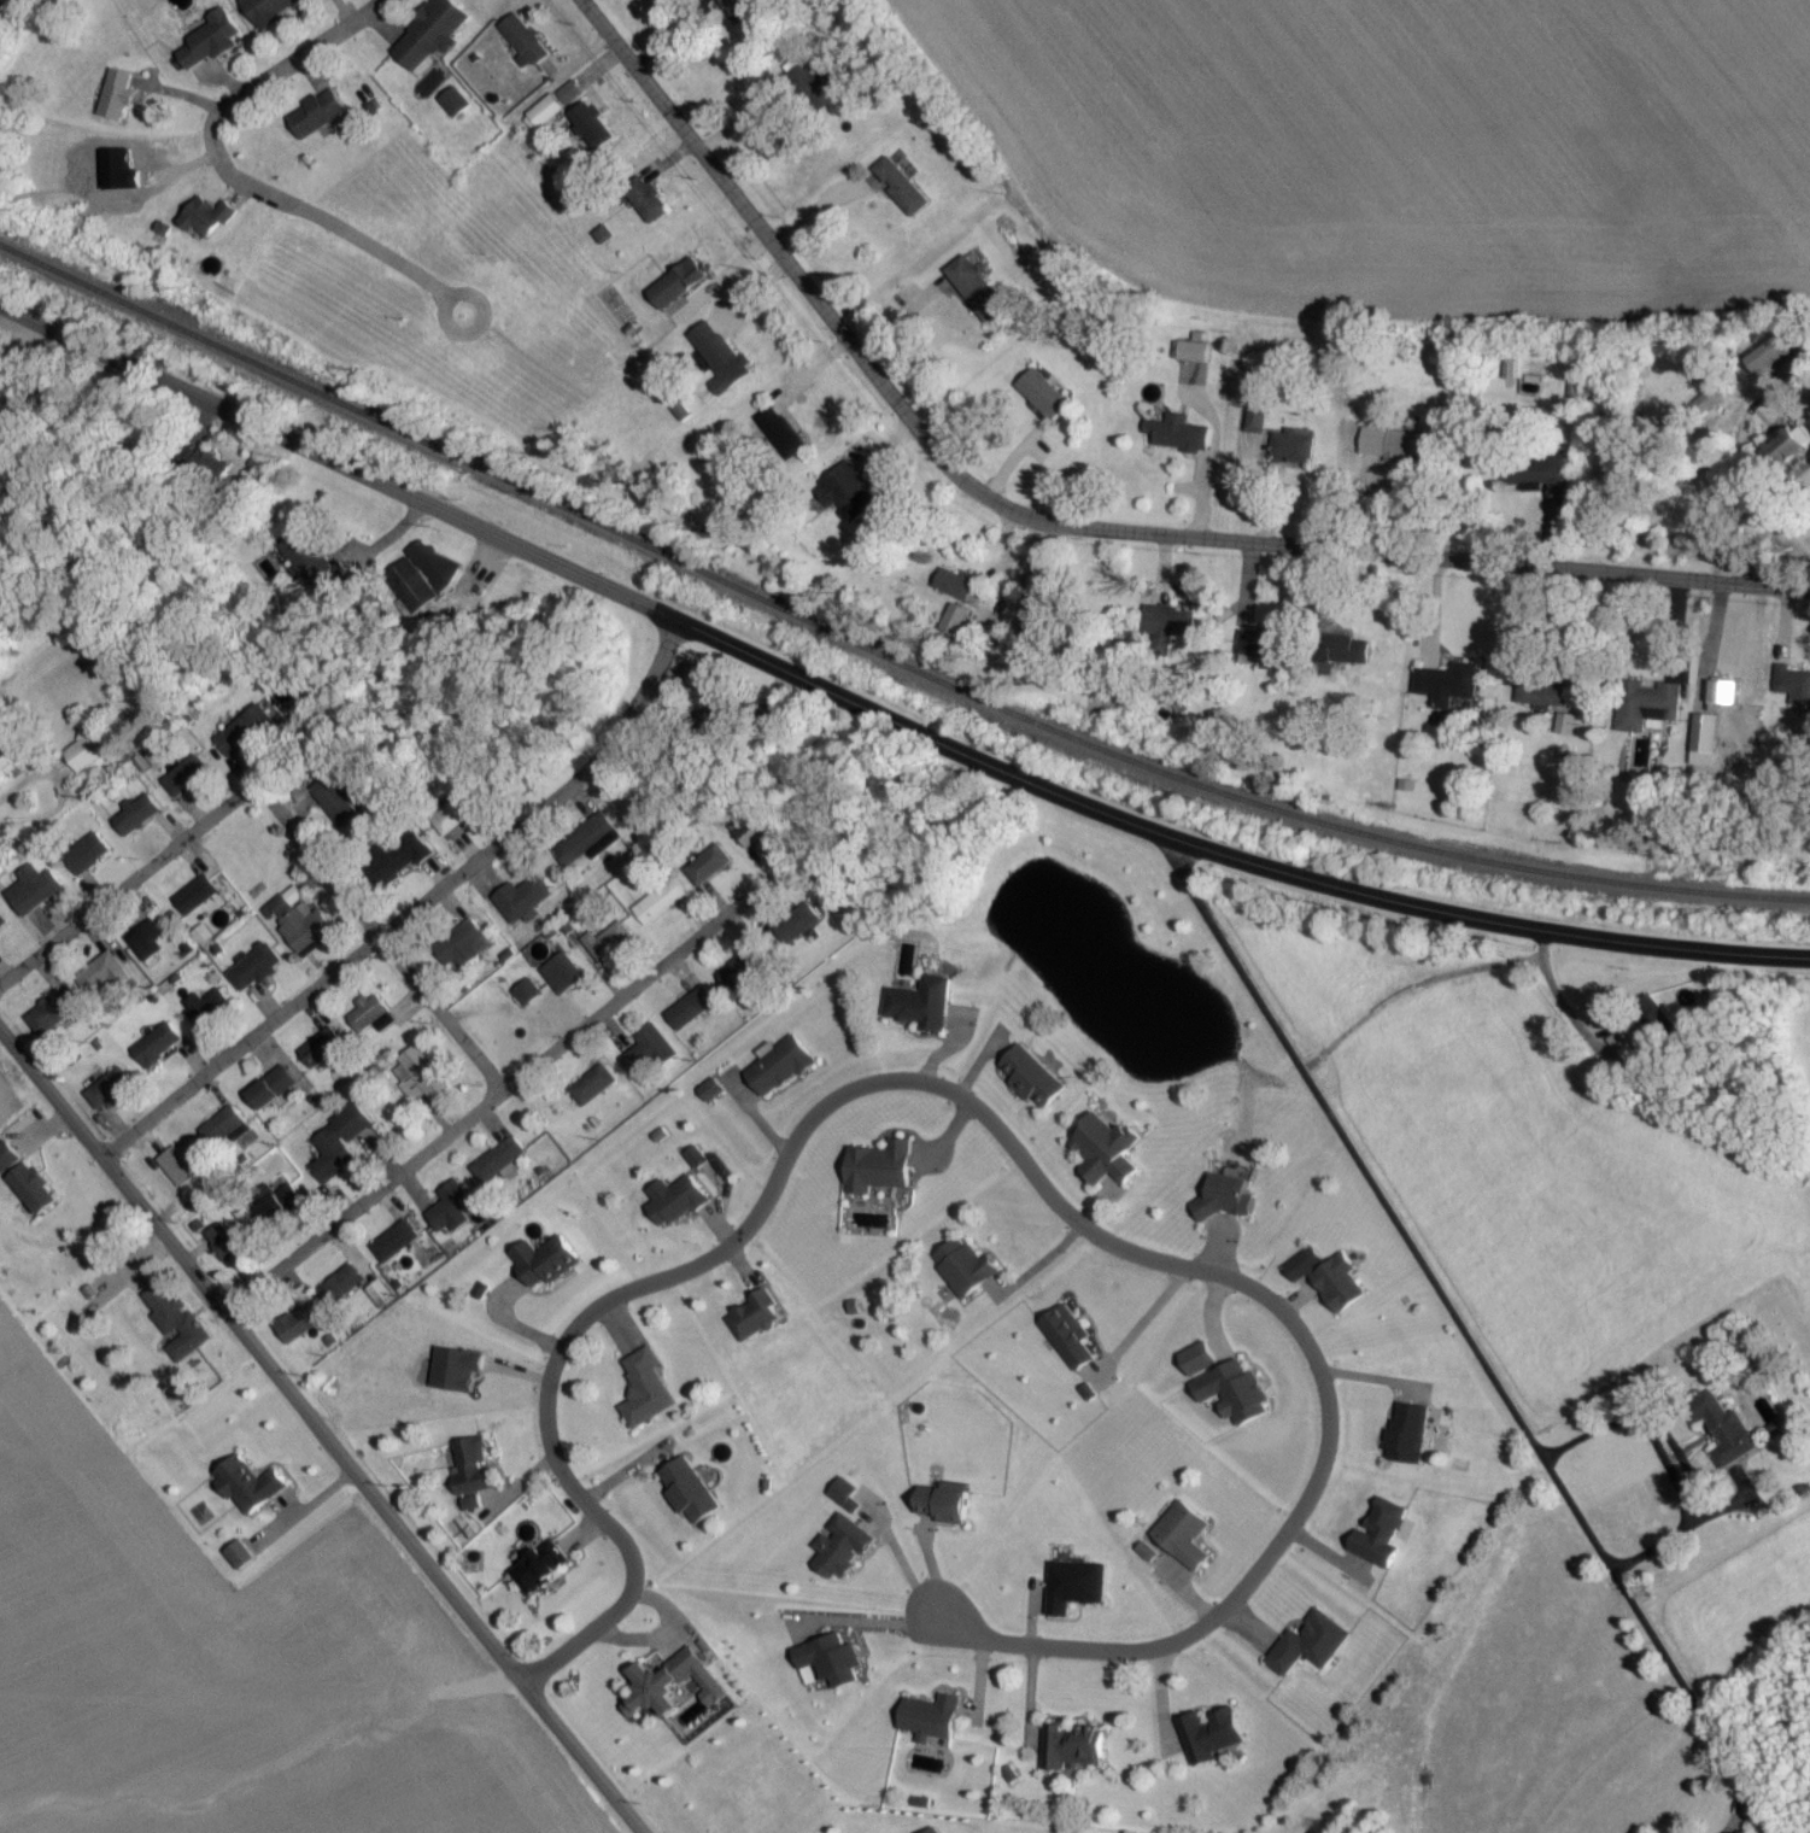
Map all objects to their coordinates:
building: (269, 12)
building: (429, 40)
building: (522, 47)
building: (206, 48)
building: (807, 89)
building: (115, 101)
building: (455, 109)
building: (545, 119)
building: (315, 121)
building: (591, 133)
road: (228, 180)
building: (901, 193)
building: (646, 210)
building: (205, 224)
building: (685, 283)
building: (973, 295)
building: (704, 346)
building: (1190, 358)
road: (1797, 386)
building: (1042, 402)
building: (1250, 424)
building: (1177, 441)
building: (1285, 451)
building: (1396, 453)
building: (1786, 458)
building: (1553, 481)
building: (857, 509)
road: (1070, 533)
building: (955, 590)
building: (1035, 613)
building: (1166, 633)
building: (1260, 657)
building: (1348, 658)
railway: (879, 660)
building: (1446, 691)
building: (1792, 691)
building: (1716, 697)
building: (1541, 699)
building: (1645, 710)
road: (879, 719)
building: (83, 761)
building: (11, 767)
road: (31, 781)
building: (186, 785)
building: (336, 808)
road: (49, 814)
building: (136, 822)
building: (455, 822)
building: (750, 838)
building: (585, 848)
building: (86, 860)
building: (393, 872)
building: (707, 872)
road: (128, 894)
building: (30, 897)
building: (194, 901)
building: (523, 906)
building: (658, 907)
road: (416, 916)
building: (2, 927)
building: (301, 929)
road: (377, 947)
building: (146, 948)
building: (609, 948)
building: (462, 951)
building: (254, 976)
building: (737, 979)
building: (99, 980)
building: (561, 980)
road: (1407, 990)
road: (1559, 1005)
building: (921, 1012)
building: (206, 1015)
building: (690, 1015)
building: (54, 1018)
building: (1653, 1024)
building: (156, 1053)
building: (322, 1054)
building: (648, 1059)
building: (779, 1074)
building: (422, 1081)
building: (1031, 1084)
building: (592, 1093)
building: (270, 1095)
road: (506, 1095)
building: (110, 1097)
building: (221, 1134)
road: (1001, 1141)
building: (338, 1150)
building: (1101, 1156)
building: (6, 1164)
building: (498, 1167)
building: (181, 1172)
building: (877, 1175)
building: (31, 1195)
building: (1224, 1204)
building: (279, 1207)
building: (676, 1210)
building: (449, 1212)
building: (230, 1248)
building: (393, 1248)
building: (544, 1269)
building: (963, 1273)
building: (1339, 1290)
building: (340, 1293)
road: (1209, 1313)
building: (752, 1323)
building: (174, 1325)
road: (1136, 1327)
building: (299, 1330)
road: (1465, 1336)
building: (1073, 1351)
building: (645, 1398)
building: (1234, 1398)
road: (317, 1435)
building: (1721, 1435)
building: (1406, 1440)
road: (1669, 1465)
building: (471, 1474)
building: (248, 1492)
road: (1744, 1497)
building: (687, 1499)
building: (941, 1510)
road: (1716, 1512)
building: (1182, 1542)
road: (904, 1570)
building: (538, 1575)
road: (932, 1575)
building: (1073, 1593)
road: (863, 1621)
road: (1030, 1621)
road: (668, 1642)
building: (1308, 1652)
road: (982, 1686)
building: (661, 1693)
road: (1025, 1700)
building: (929, 1724)
building: (1208, 1743)
building: (1071, 1753)
road: (1734, 1816)

